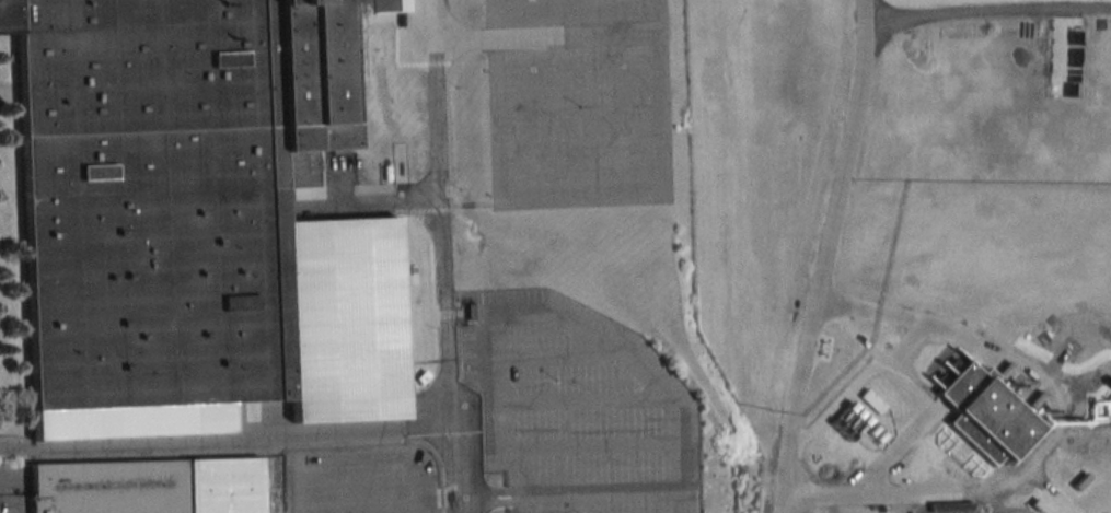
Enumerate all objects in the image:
road: (985, 23)
parking lot: (576, 103)
building: (195, 219)
road: (444, 256)
road: (823, 256)
building: (869, 401)
road: (923, 403)
road: (834, 405)
building: (982, 415)
building: (846, 421)
road: (1043, 439)
road: (225, 441)
building: (1076, 481)
building: (146, 487)
building: (953, 510)

